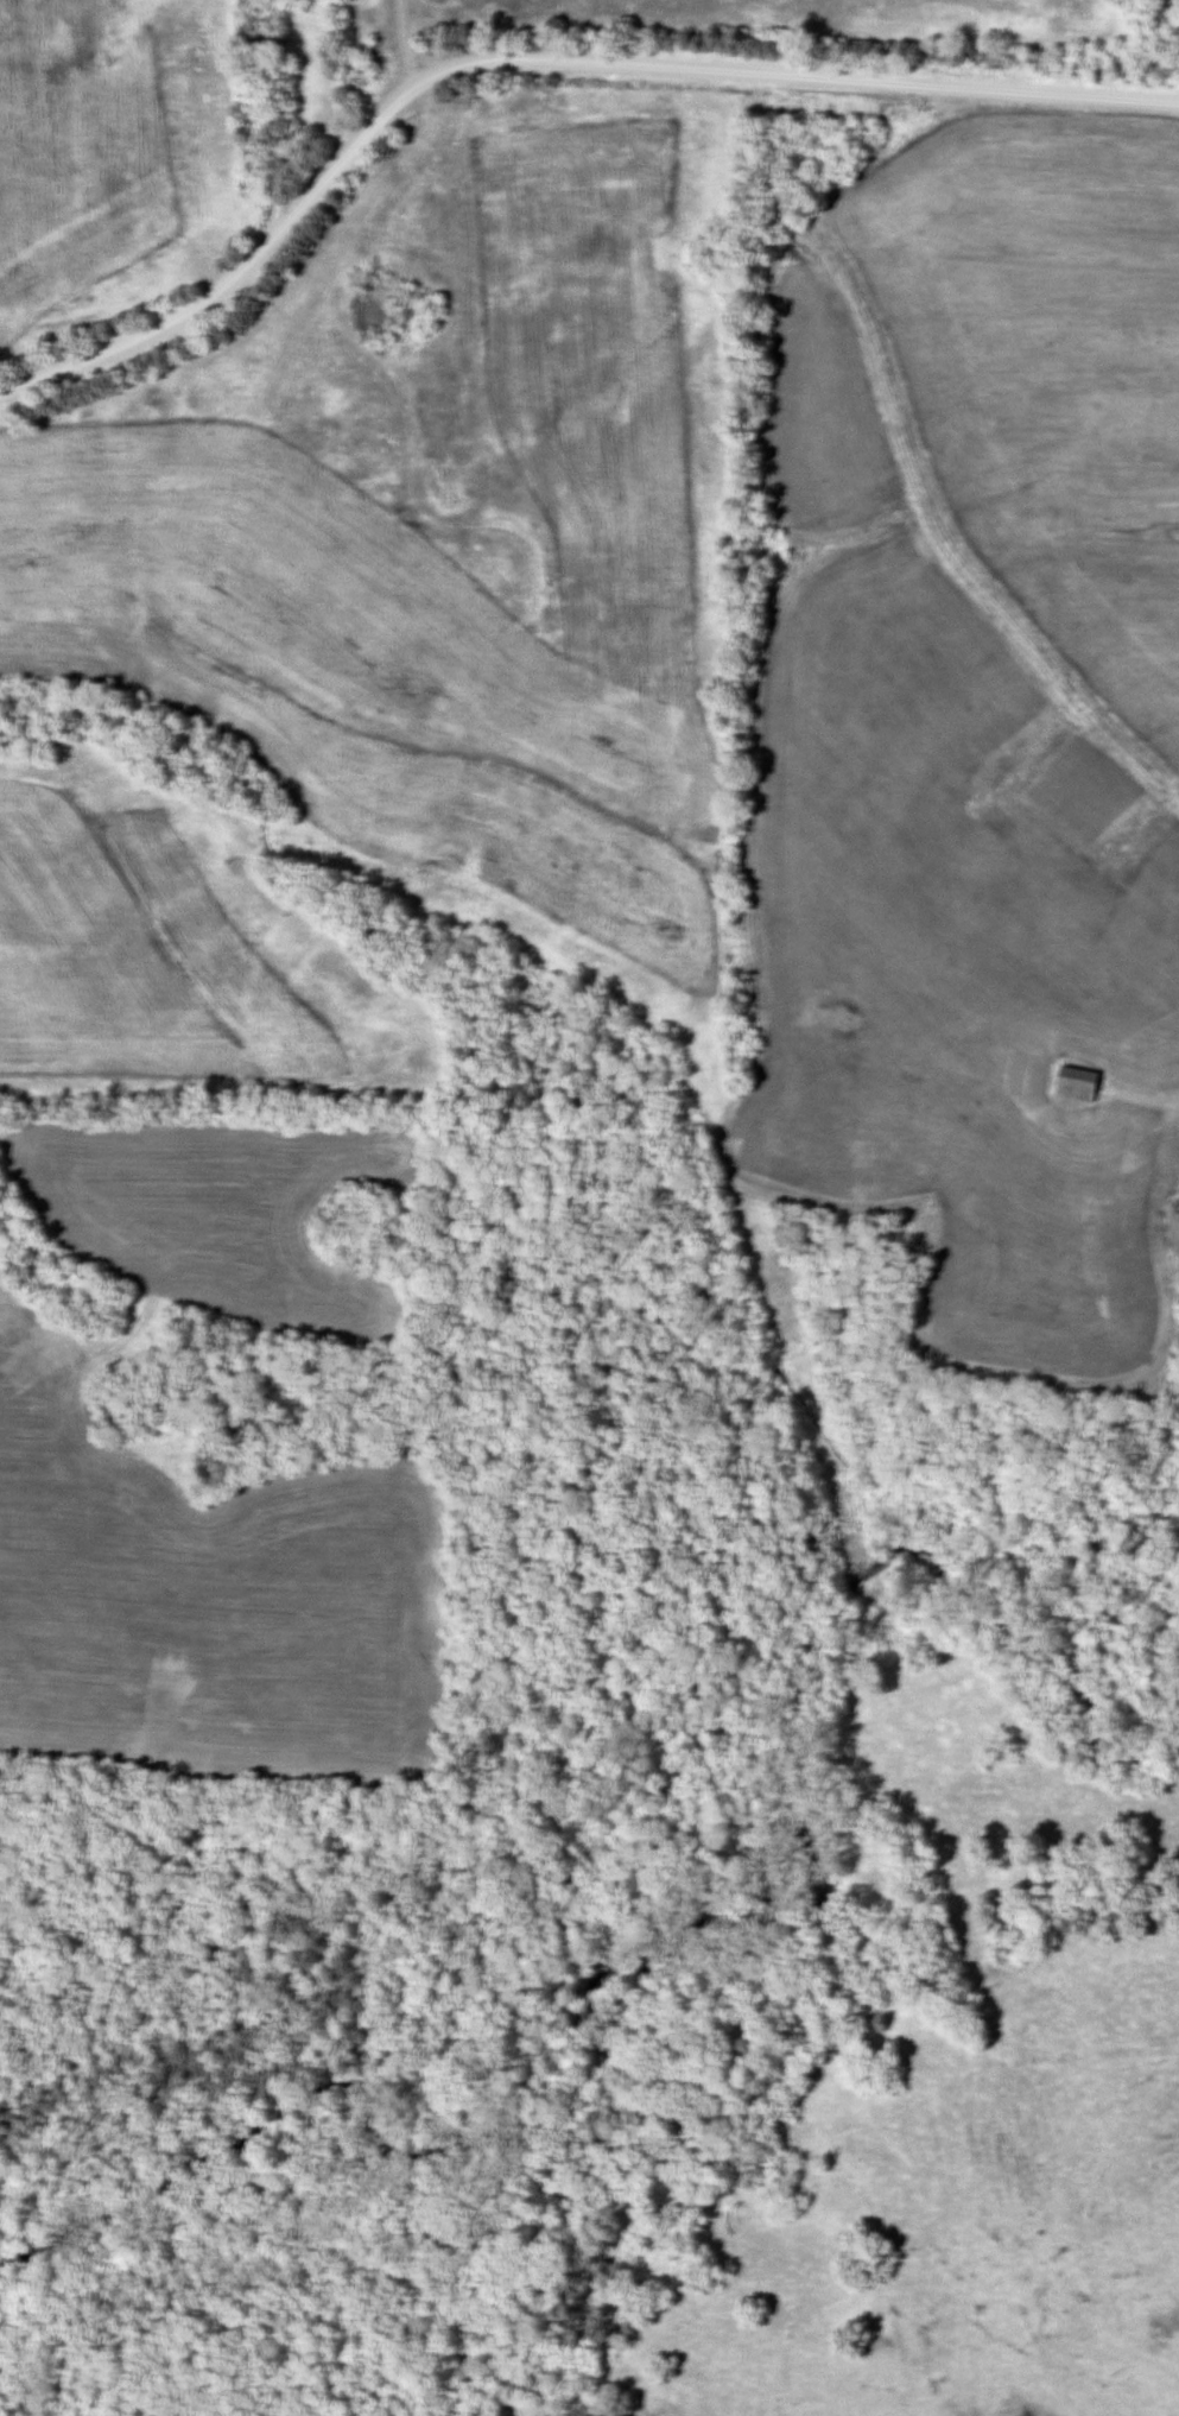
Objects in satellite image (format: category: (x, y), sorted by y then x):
road: (516, 116)
building: (1080, 1083)

